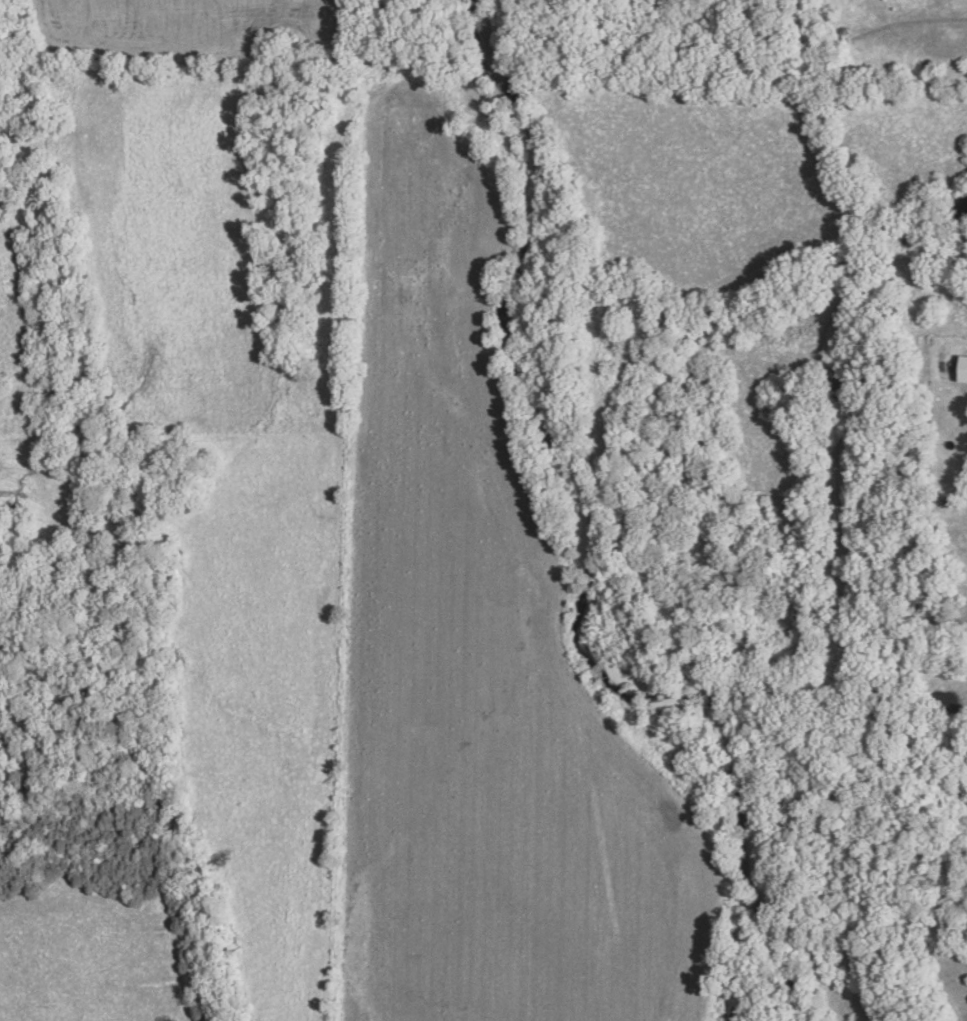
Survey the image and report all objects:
building: (839, 362)
building: (963, 369)

